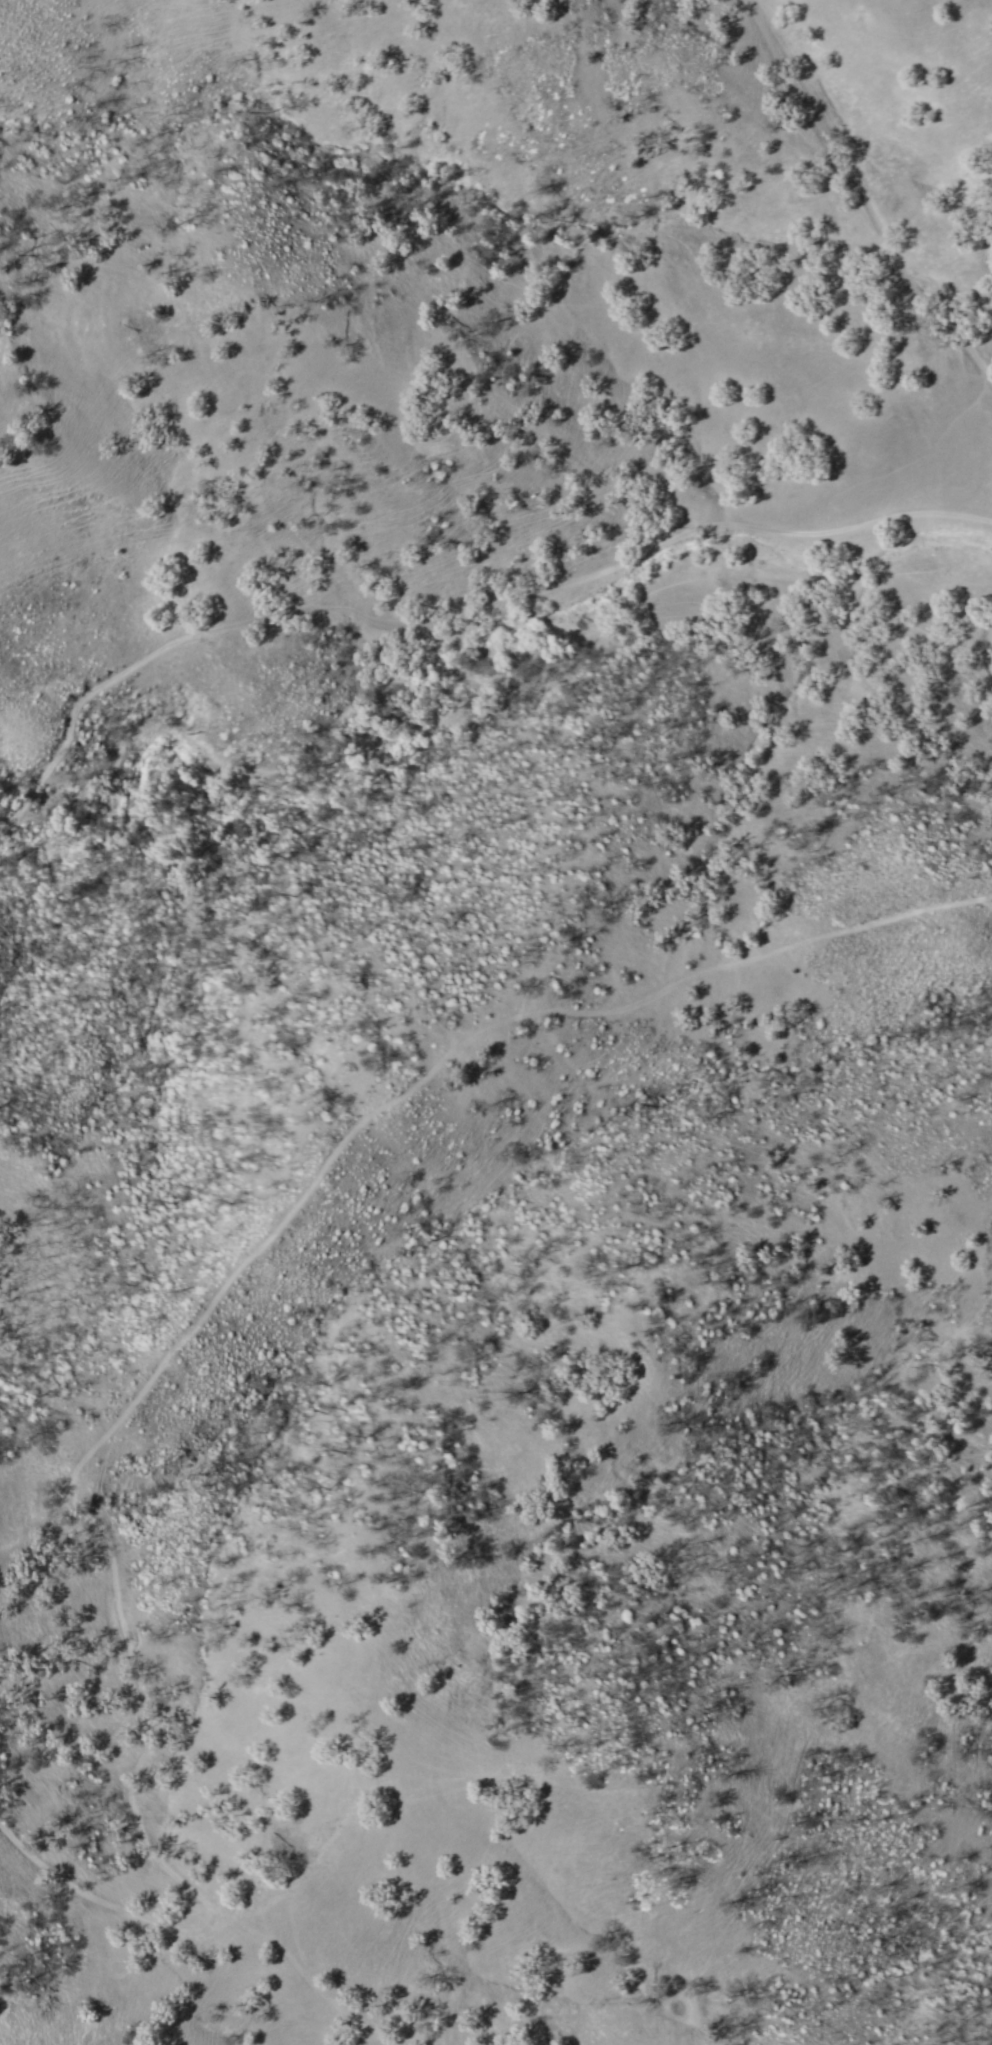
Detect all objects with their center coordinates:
road: (864, 189)

